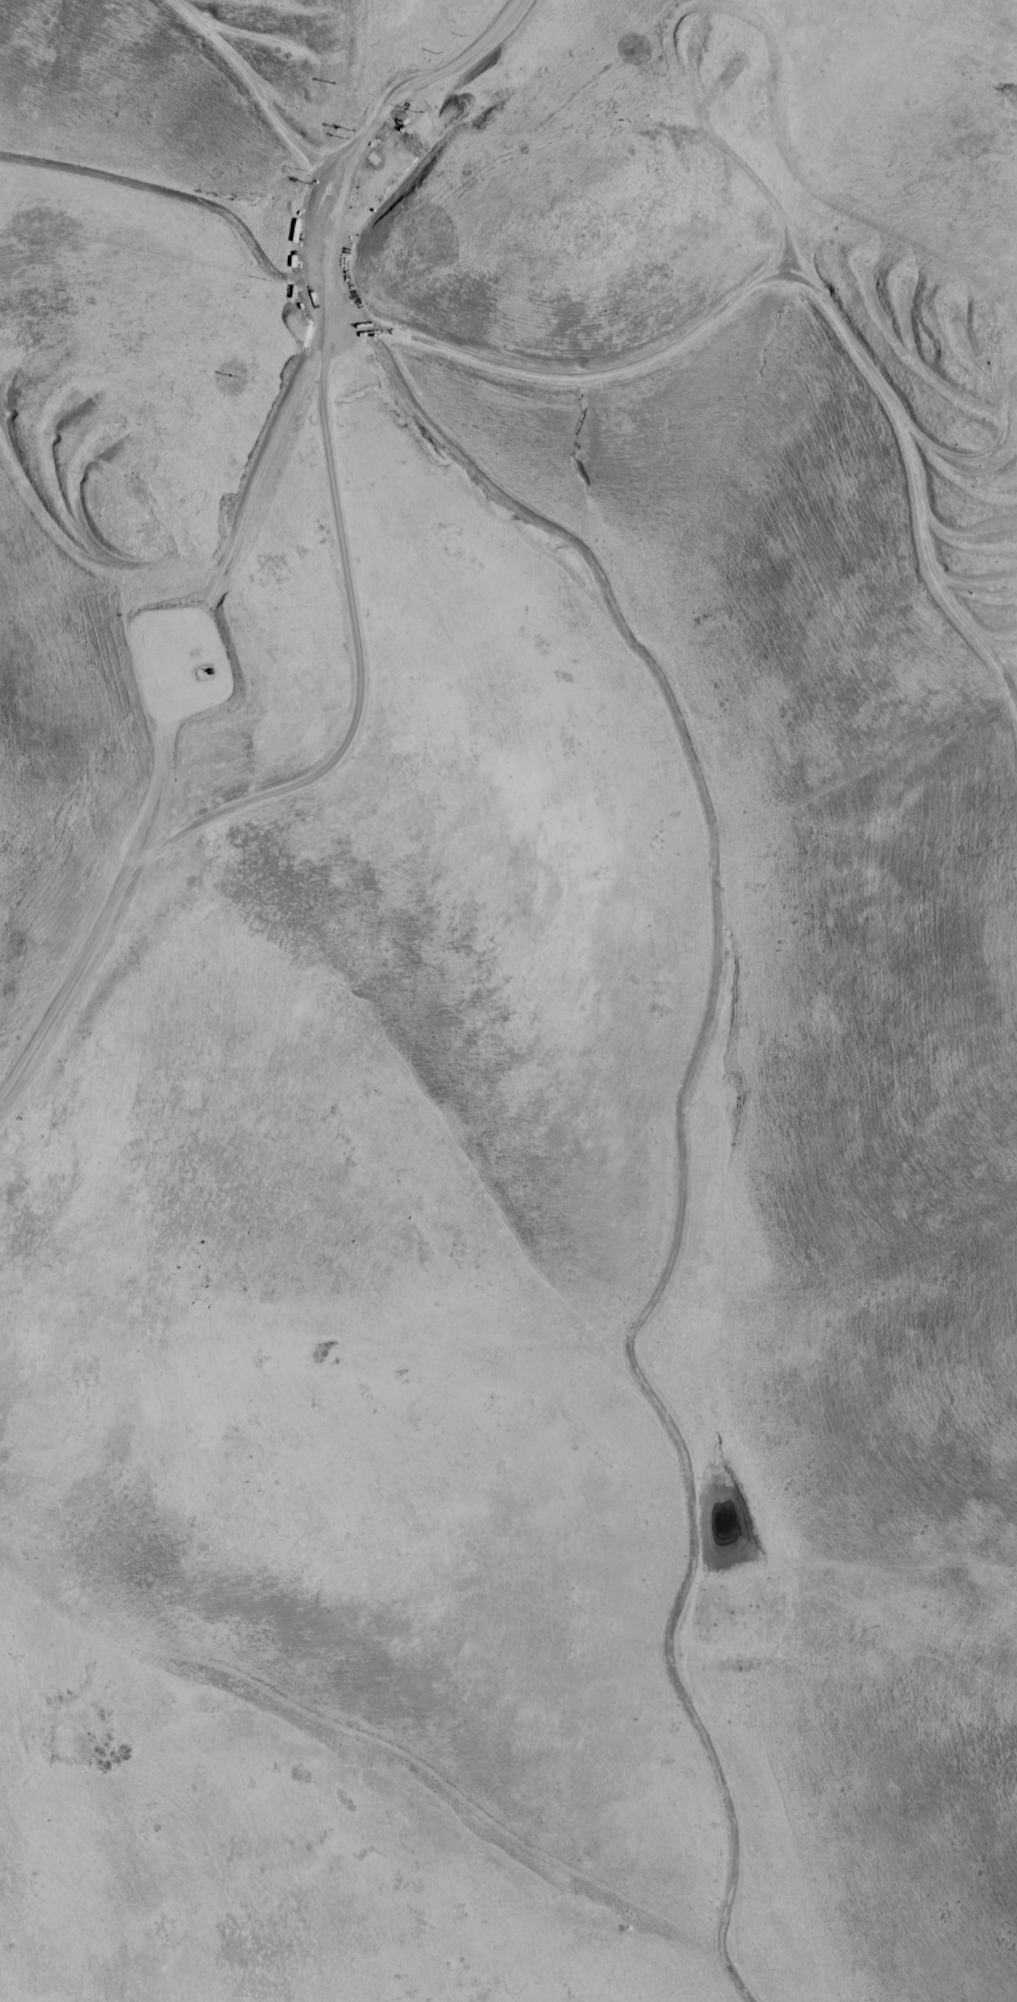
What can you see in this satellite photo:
road: (248, 82)
road: (340, 148)
road: (172, 194)
road: (790, 285)
building: (336, 306)
road: (345, 516)
wind turbine: (201, 676)

